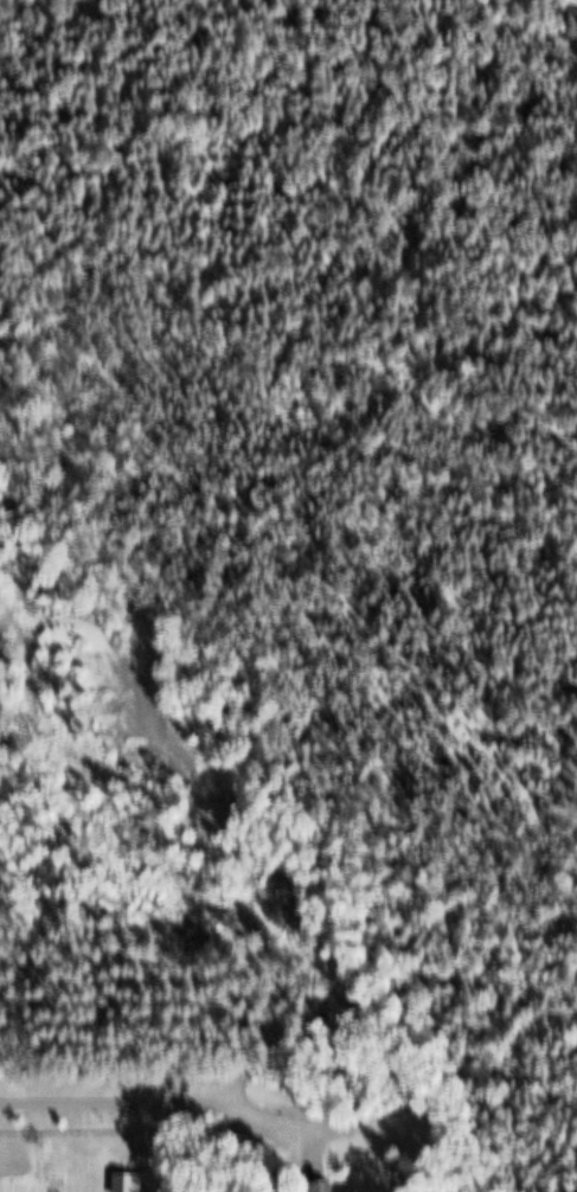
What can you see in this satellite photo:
building: (124, 1185)
building: (316, 1190)

